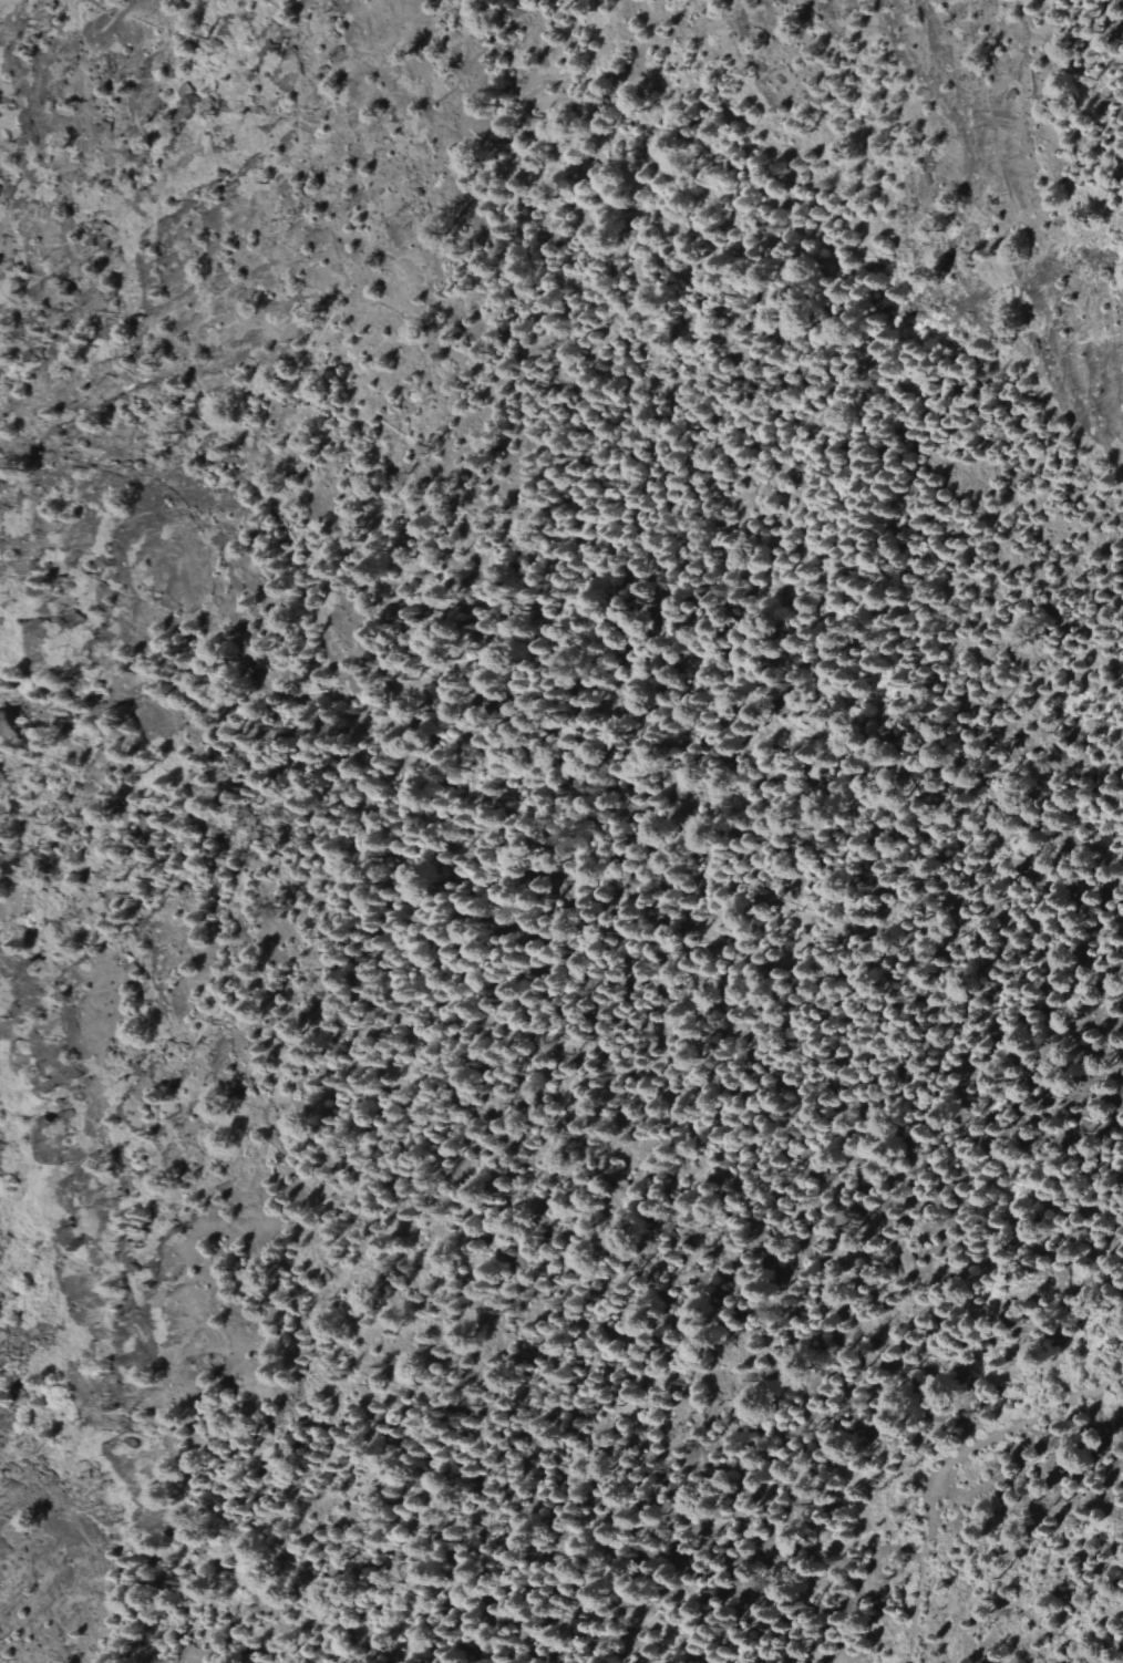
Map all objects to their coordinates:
road: (951, 1473)

